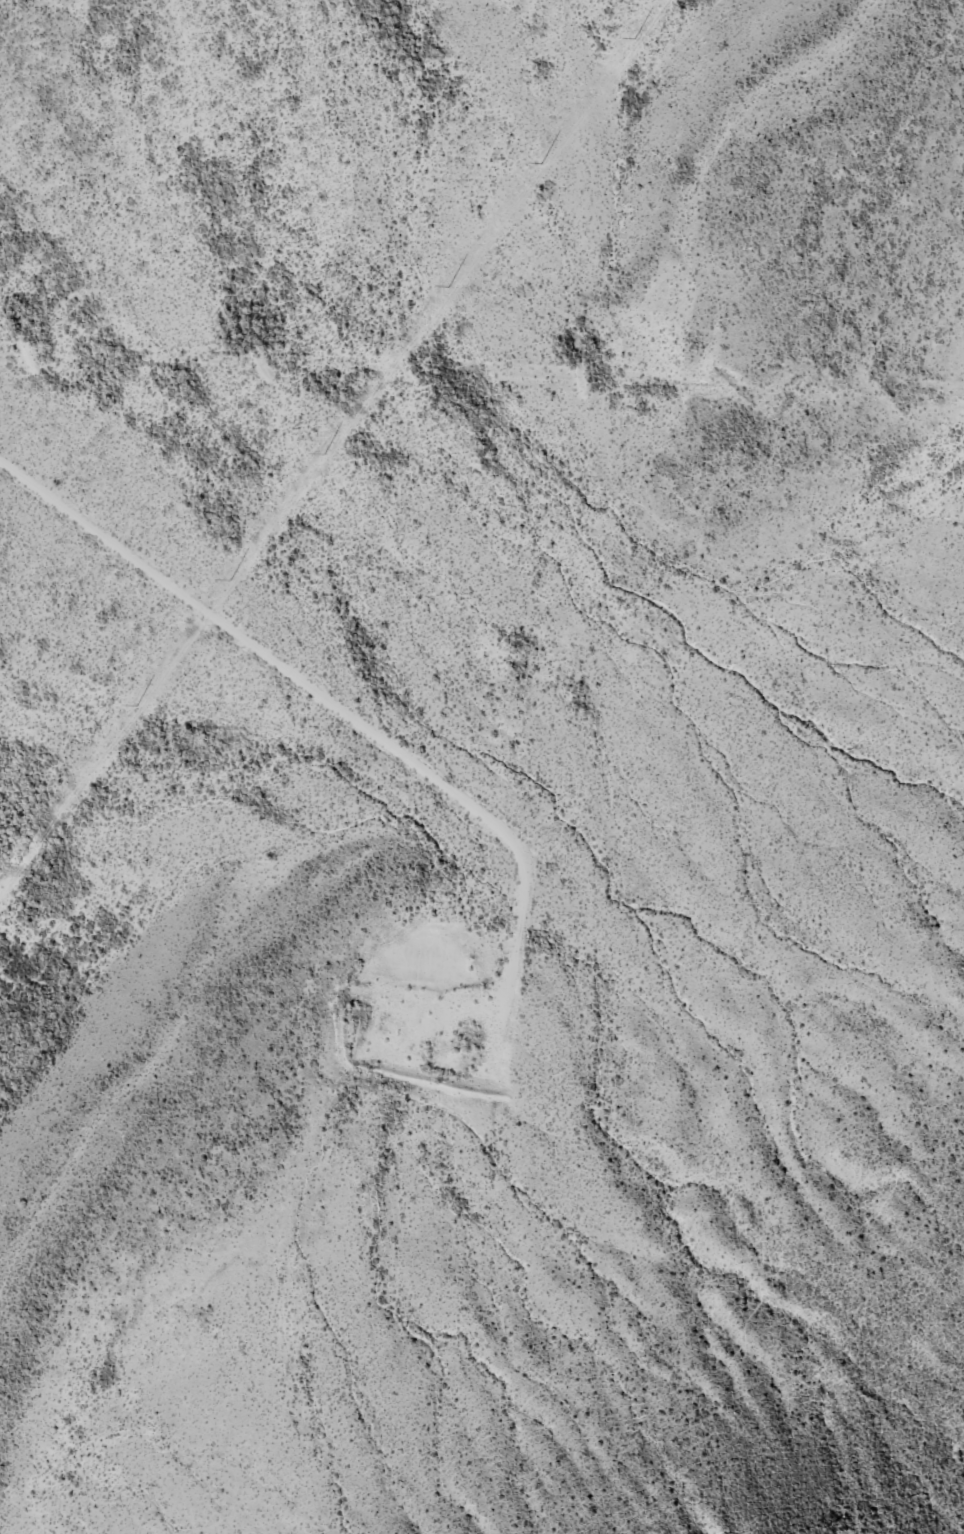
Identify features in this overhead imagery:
power tower: (633, 39)
power tower: (540, 165)
power tower: (448, 288)
power tower: (323, 456)
power tower: (229, 581)
power tower: (136, 706)
power tower: (18, 864)

